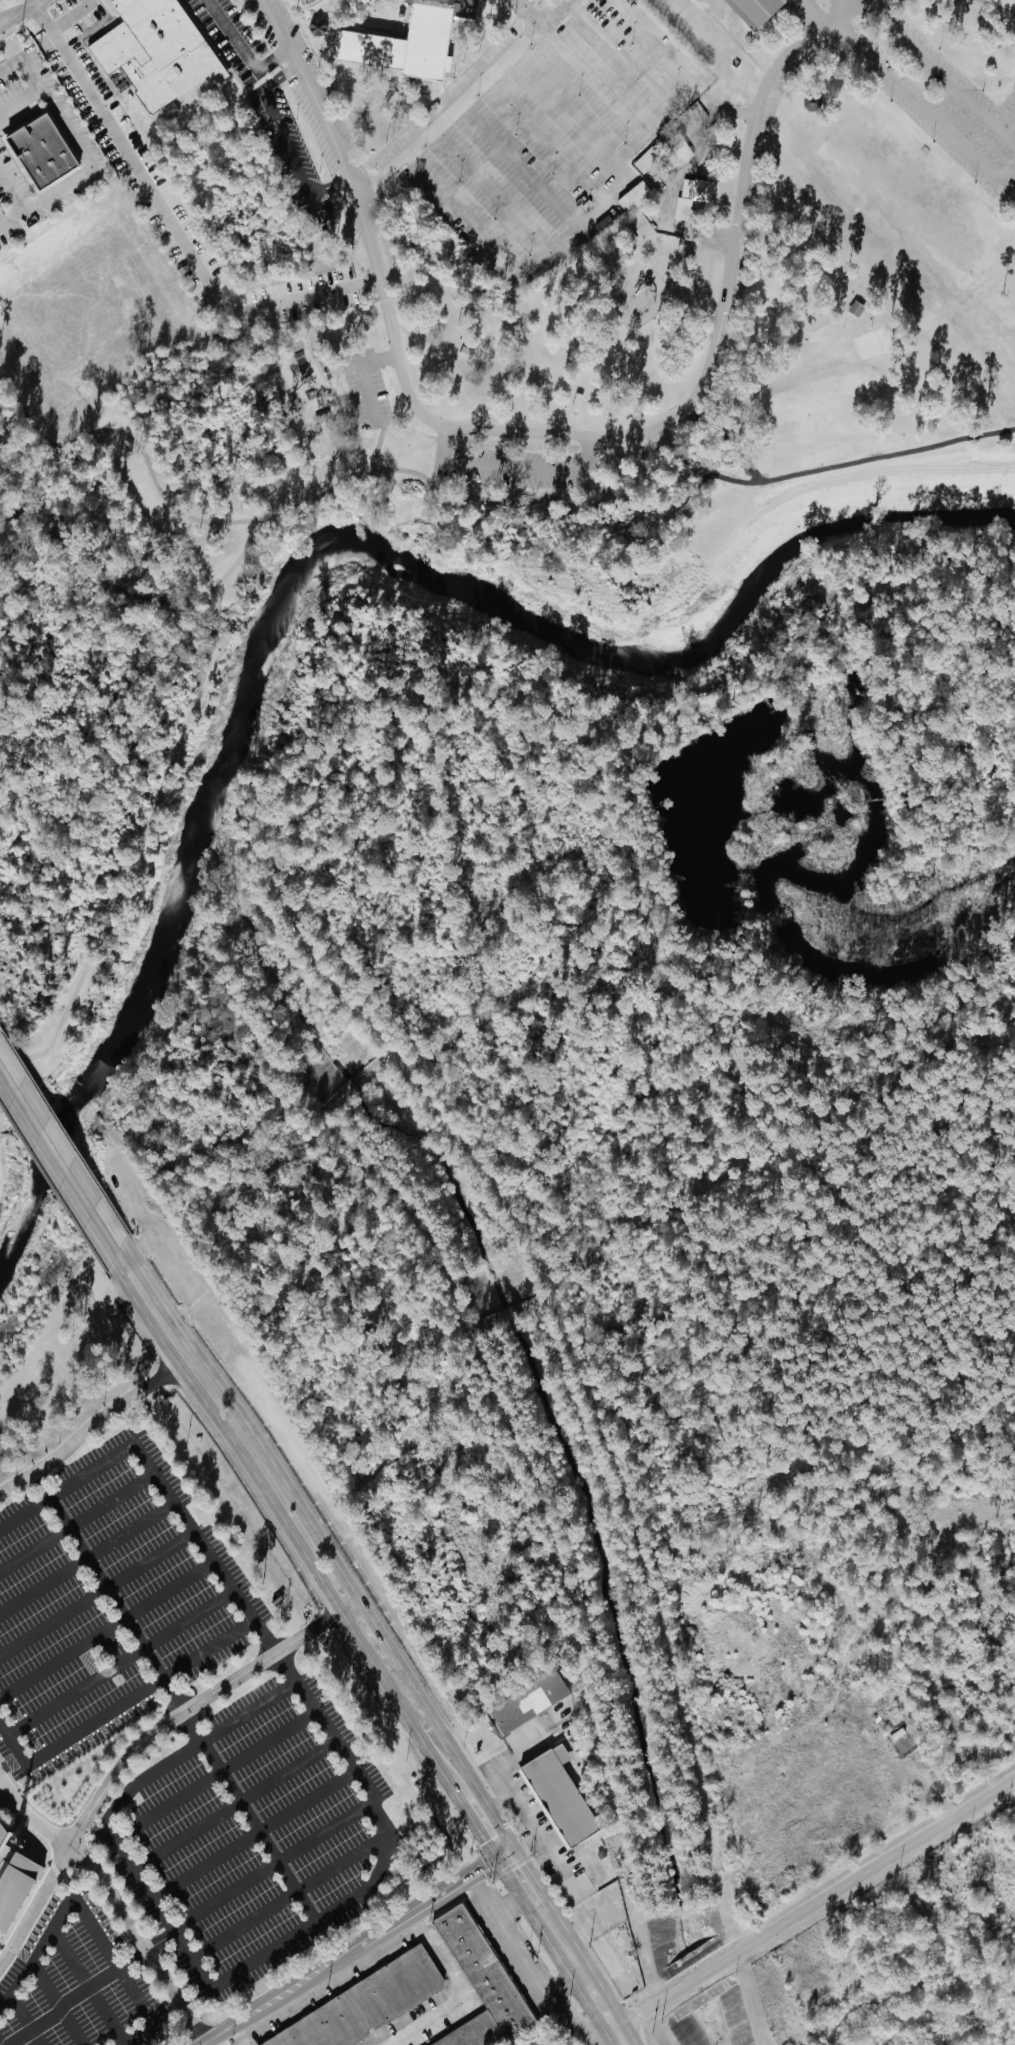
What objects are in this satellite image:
parking lot: (830, 0)
building: (361, 2)
road: (843, 5)
parking lot: (804, 8)
building: (754, 10)
road: (550, 12)
road: (18, 13)
road: (71, 15)
parking lot: (261, 24)
building: (317, 27)
parking lot: (231, 38)
building: (409, 41)
road: (656, 42)
road: (242, 51)
building: (154, 55)
road: (9, 62)
road: (943, 75)
parking lot: (316, 82)
road: (605, 89)
road: (906, 92)
parking lot: (444, 96)
road: (46, 99)
road: (20, 103)
parking lot: (950, 108)
road: (449, 111)
road: (720, 111)
parking lot: (313, 126)
parking lot: (557, 137)
road: (546, 138)
road: (285, 142)
road: (334, 146)
building: (41, 152)
parking lot: (290, 154)
building: (647, 159)
road: (520, 164)
parking lot: (760, 169)
road: (492, 187)
road: (12, 190)
building: (693, 193)
building: (634, 196)
road: (45, 198)
park: (894, 211)
parking lot: (348, 215)
road: (169, 223)
road: (581, 225)
park: (637, 332)
park: (878, 340)
road: (378, 360)
road: (705, 375)
road: (5, 381)
parking lot: (366, 388)
park: (306, 389)
road: (366, 390)
road: (407, 447)
road: (142, 455)
parking lot: (514, 467)
road: (510, 470)
road: (446, 479)
road: (594, 487)
road: (594, 502)
river: (290, 566)
road: (210, 616)
road: (122, 881)
road: (63, 1148)
road: (54, 1174)
road: (243, 1421)
road: (88, 1426)
road: (26, 1512)
road: (78, 1523)
road: (286, 1528)
road: (132, 1529)
road: (44, 1585)
road: (97, 1593)
parking lot: (108, 1600)
road: (349, 1604)
road: (107, 1628)
road: (175, 1628)
road: (379, 1630)
road: (176, 1695)
road: (69, 1697)
building: (528, 1701)
road: (119, 1704)
road: (251, 1711)
road: (131, 1750)
road: (455, 1754)
road: (215, 1775)
road: (1014, 1780)
building: (559, 1795)
road: (235, 1805)
road: (80, 1808)
road: (482, 1825)
parking lot: (253, 1834)
road: (254, 1834)
road: (390, 1837)
traffic signals: (504, 1851)
road: (272, 1865)
road: (60, 1876)
building: (14, 1878)
road: (520, 1879)
road: (290, 1896)
road: (116, 1901)
road: (509, 1902)
road: (815, 1904)
road: (80, 1909)
road: (563, 1947)
road: (352, 1948)
parking lot: (514, 1951)
road: (516, 1955)
building: (486, 1967)
road: (331, 1982)
parking lot: (78, 1983)
road: (88, 1986)
road: (86, 1987)
parking lot: (332, 1991)
road: (460, 1992)
building: (367, 2003)
road: (56, 2005)
road: (602, 2009)
road: (23, 2020)
parking lot: (424, 2022)
building: (476, 2031)
road: (239, 2034)
road: (137, 2035)
road: (620, 2038)
road: (202, 2044)

